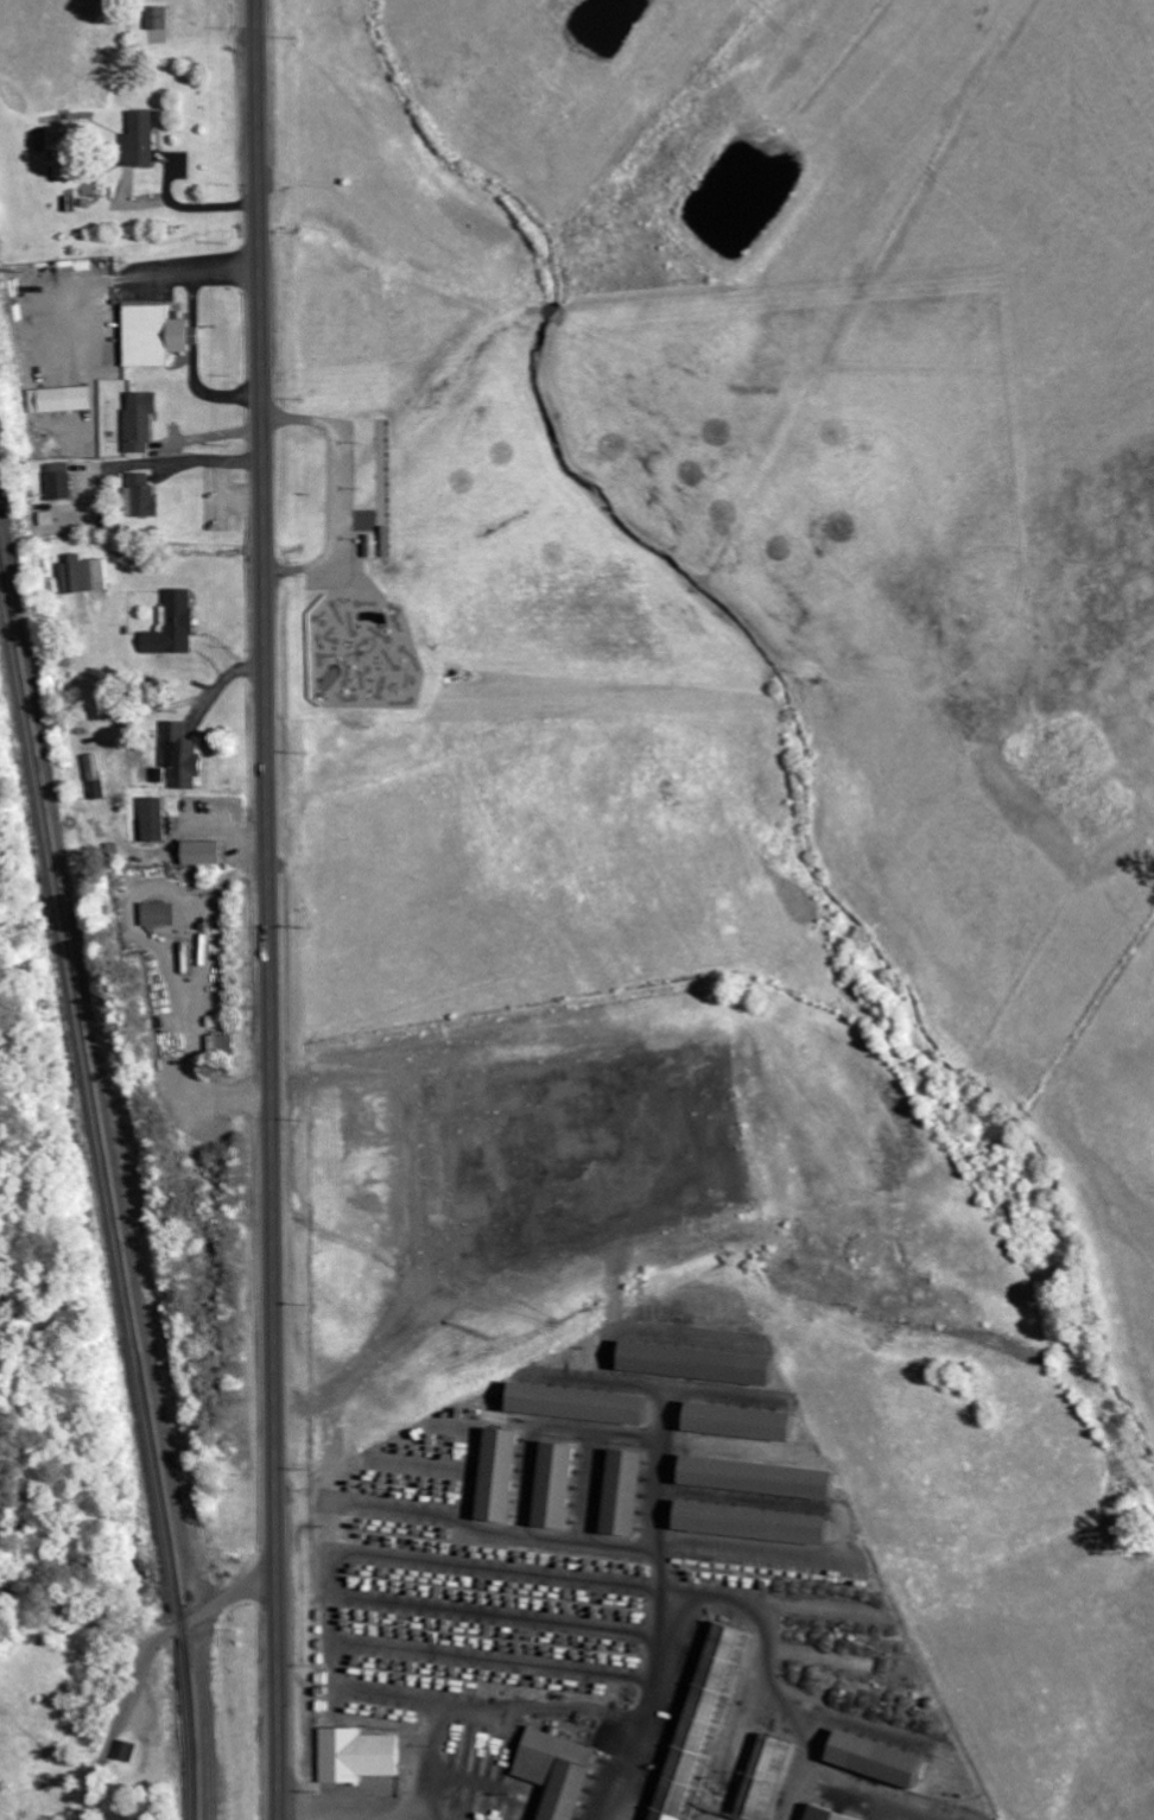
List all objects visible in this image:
building: (160, 18)
building: (142, 140)
building: (158, 335)
building: (63, 399)
building: (141, 421)
building: (62, 482)
building: (142, 496)
building: (87, 575)
building: (185, 756)
building: (99, 776)
building: (157, 819)
building: (208, 852)
road: (268, 909)
building: (161, 914)
building: (224, 1044)
railway: (108, 1186)
building: (706, 1365)
building: (586, 1406)
building: (748, 1422)
building: (506, 1477)
building: (766, 1479)
building: (630, 1495)
building: (761, 1524)
road: (146, 1667)
building: (709, 1718)
building: (360, 1756)
building: (883, 1761)
building: (562, 1771)
building: (768, 1778)
building: (829, 1814)

